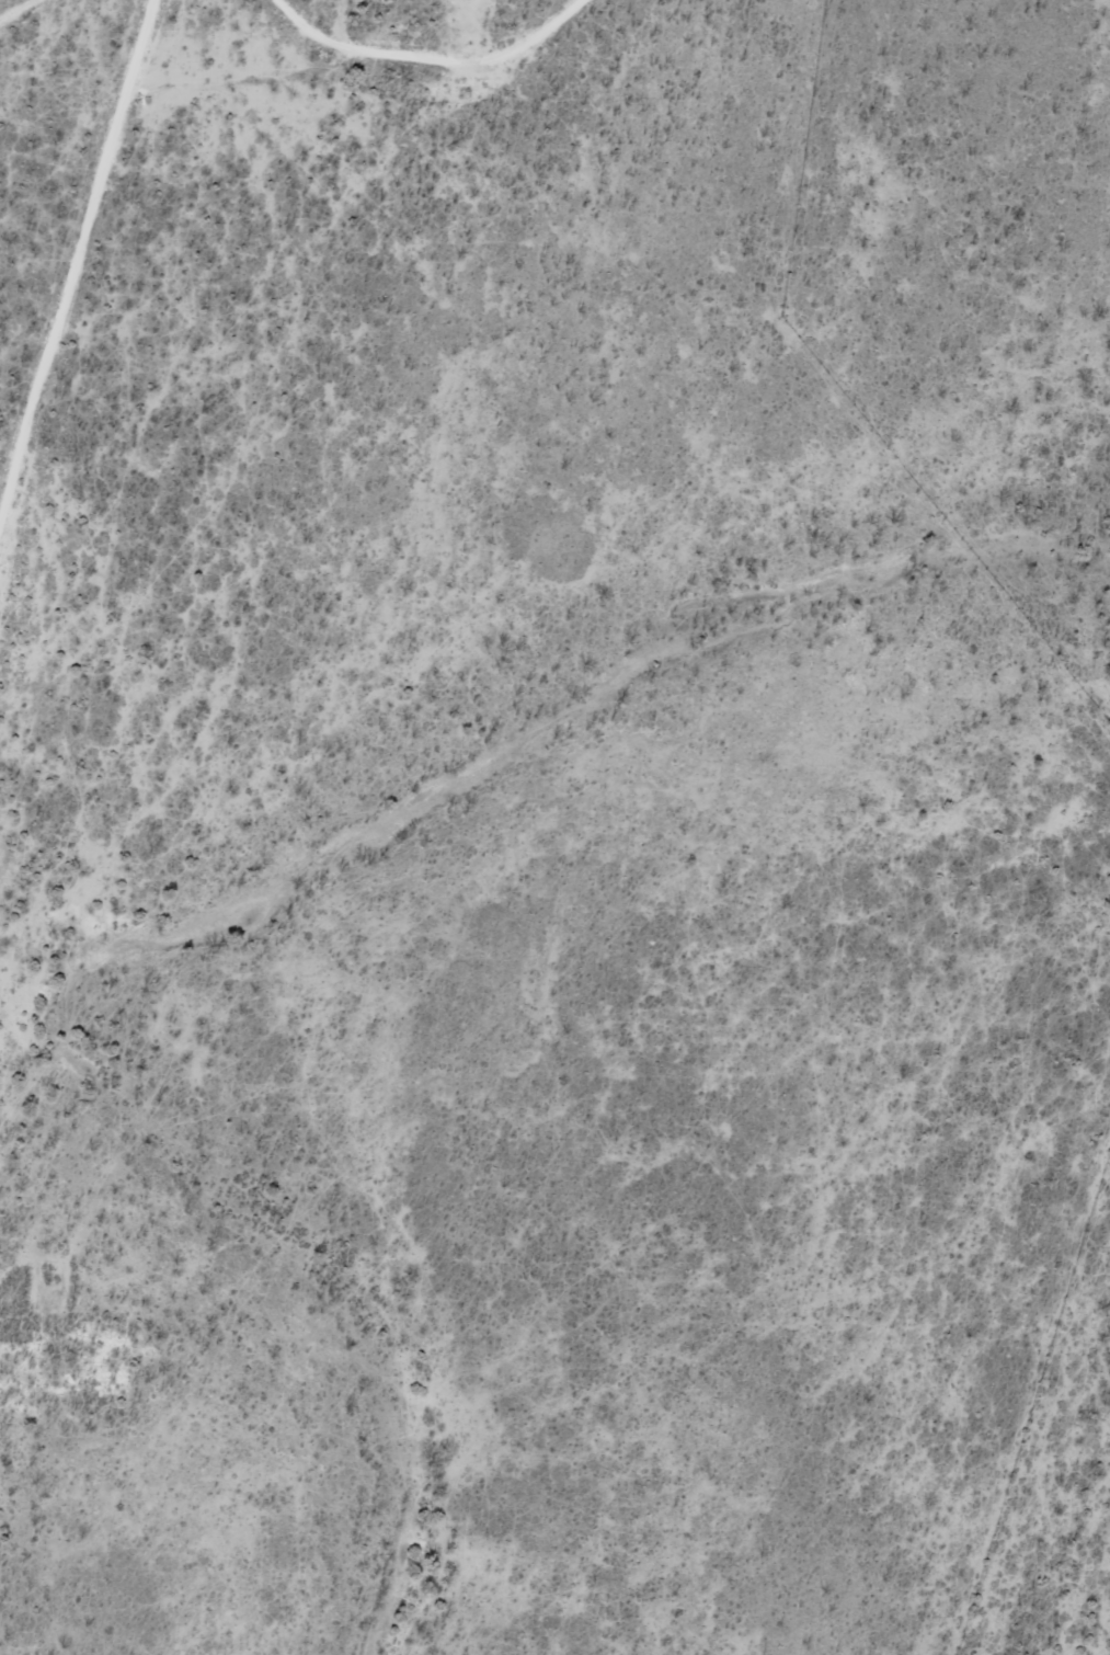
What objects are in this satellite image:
road: (123, 49)
road: (137, 91)

